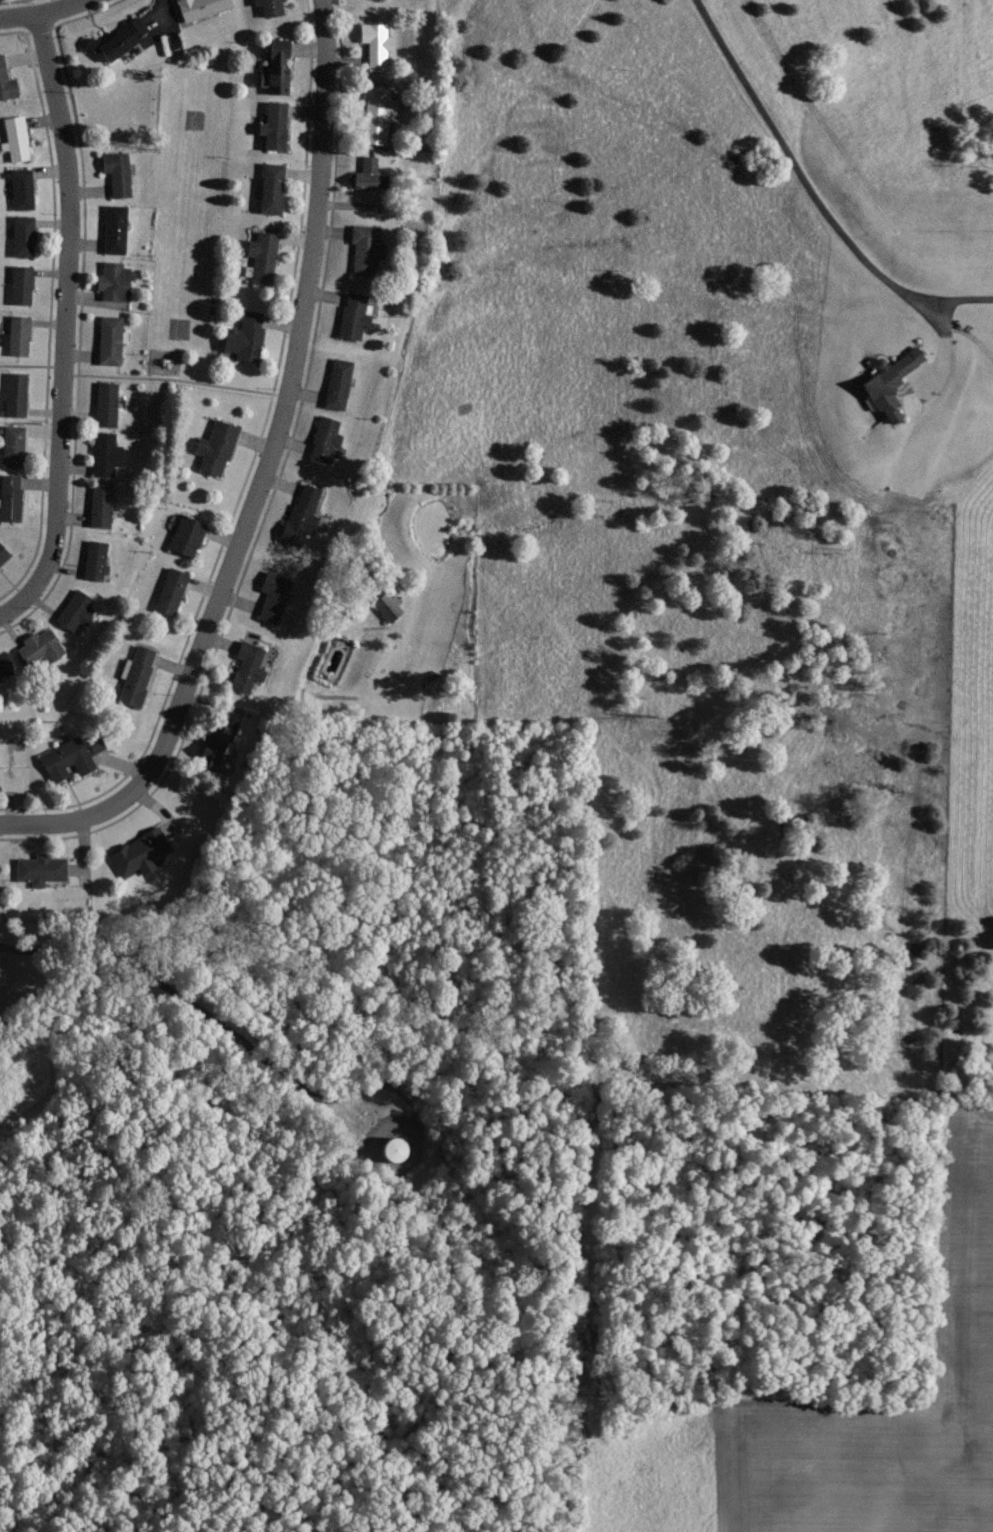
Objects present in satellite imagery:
building: (274, 6)
building: (203, 7)
road: (35, 13)
building: (125, 36)
building: (93, 41)
building: (379, 44)
building: (280, 64)
building: (7, 78)
building: (380, 110)
park: (195, 116)
building: (277, 123)
building: (19, 136)
building: (120, 169)
building: (372, 172)
road: (799, 180)
building: (26, 186)
building: (274, 186)
building: (117, 228)
building: (26, 233)
building: (366, 250)
building: (266, 256)
building: (116, 278)
building: (24, 282)
building: (353, 314)
road: (66, 320)
building: (248, 332)
building: (21, 333)
building: (113, 337)
road: (32, 363)
road: (176, 376)
building: (341, 381)
building: (886, 385)
building: (18, 390)
building: (109, 401)
building: (325, 437)
building: (15, 444)
building: (218, 444)
building: (108, 449)
road: (263, 474)
building: (12, 495)
building: (102, 505)
building: (305, 512)
building: (190, 533)
building: (4, 550)
building: (97, 557)
building: (173, 590)
building: (277, 594)
building: (385, 605)
building: (77, 608)
building: (40, 647)
building: (7, 661)
building: (250, 665)
building: (139, 672)
building: (216, 743)
building: (70, 756)
building: (142, 849)
building: (43, 866)
road: (25, 947)
building: (397, 1149)
water tower: (398, 1149)

